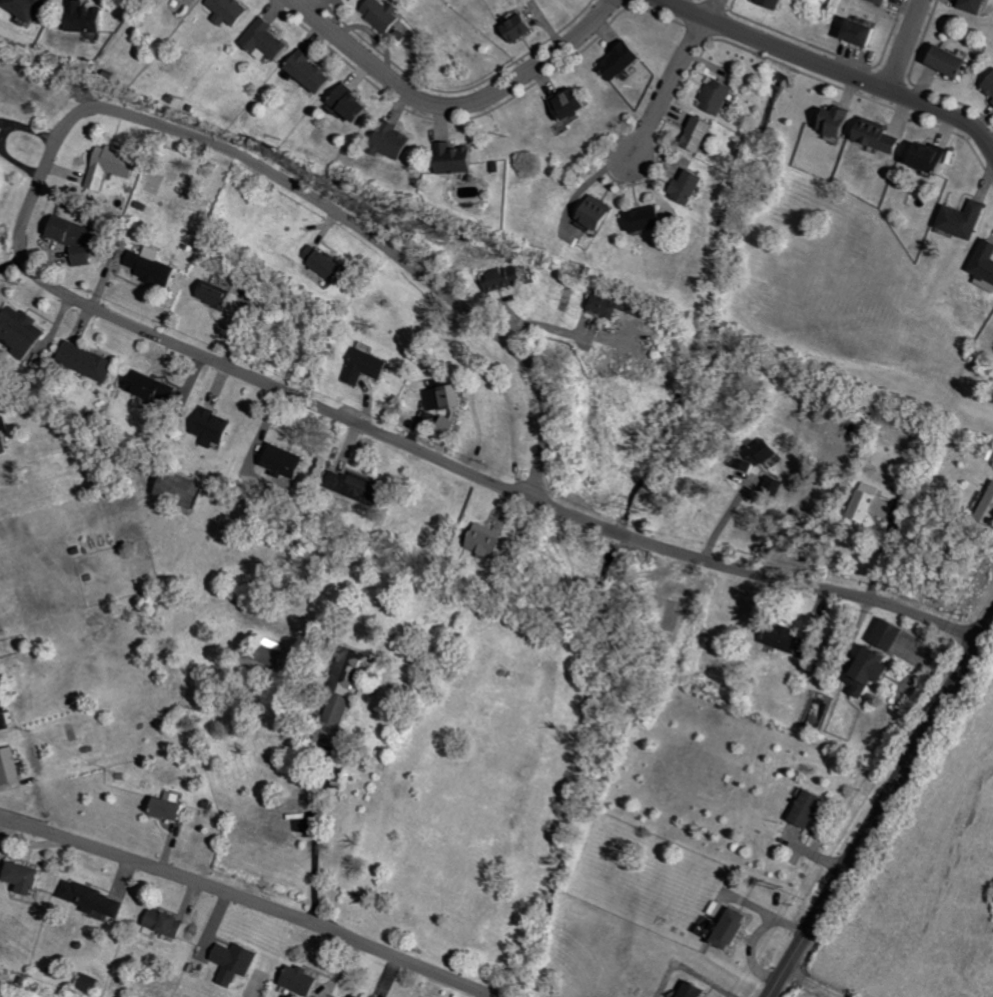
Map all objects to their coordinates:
building: (359, 0)
building: (886, 1)
building: (782, 3)
building: (977, 5)
building: (31, 7)
road: (683, 9)
road: (710, 9)
building: (222, 10)
building: (387, 14)
building: (88, 16)
building: (522, 27)
building: (866, 31)
road: (904, 44)
building: (625, 60)
building: (952, 61)
building: (313, 70)
road: (855, 76)
building: (989, 86)
road: (667, 87)
building: (724, 95)
building: (357, 103)
building: (575, 103)
road: (454, 104)
building: (841, 120)
road: (174, 132)
building: (704, 132)
building: (879, 135)
building: (396, 141)
building: (934, 156)
building: (458, 158)
building: (113, 165)
building: (694, 186)
building: (599, 213)
building: (651, 218)
building: (966, 219)
building: (327, 262)
building: (986, 265)
building: (157, 267)
building: (504, 277)
building: (221, 295)
building: (619, 306)
road: (545, 322)
building: (22, 330)
building: (91, 360)
building: (370, 366)
building: (157, 387)
building: (450, 397)
building: (217, 427)
building: (3, 434)
building: (358, 486)
building: (773, 486)
building: (187, 489)
building: (873, 504)
power tower: (641, 510)
building: (989, 511)
road: (729, 515)
building: (492, 540)
road: (756, 573)
building: (892, 634)
building: (789, 639)
building: (275, 657)
building: (876, 670)
building: (1, 675)
building: (8, 715)
building: (12, 766)
building: (175, 806)
building: (811, 808)
road: (882, 809)
road: (313, 837)
building: (29, 877)
power tower: (777, 884)
building: (97, 899)
road: (251, 901)
building: (169, 923)
building: (735, 929)
building: (238, 962)
building: (306, 981)
road: (813, 983)
building: (93, 984)
building: (696, 990)

